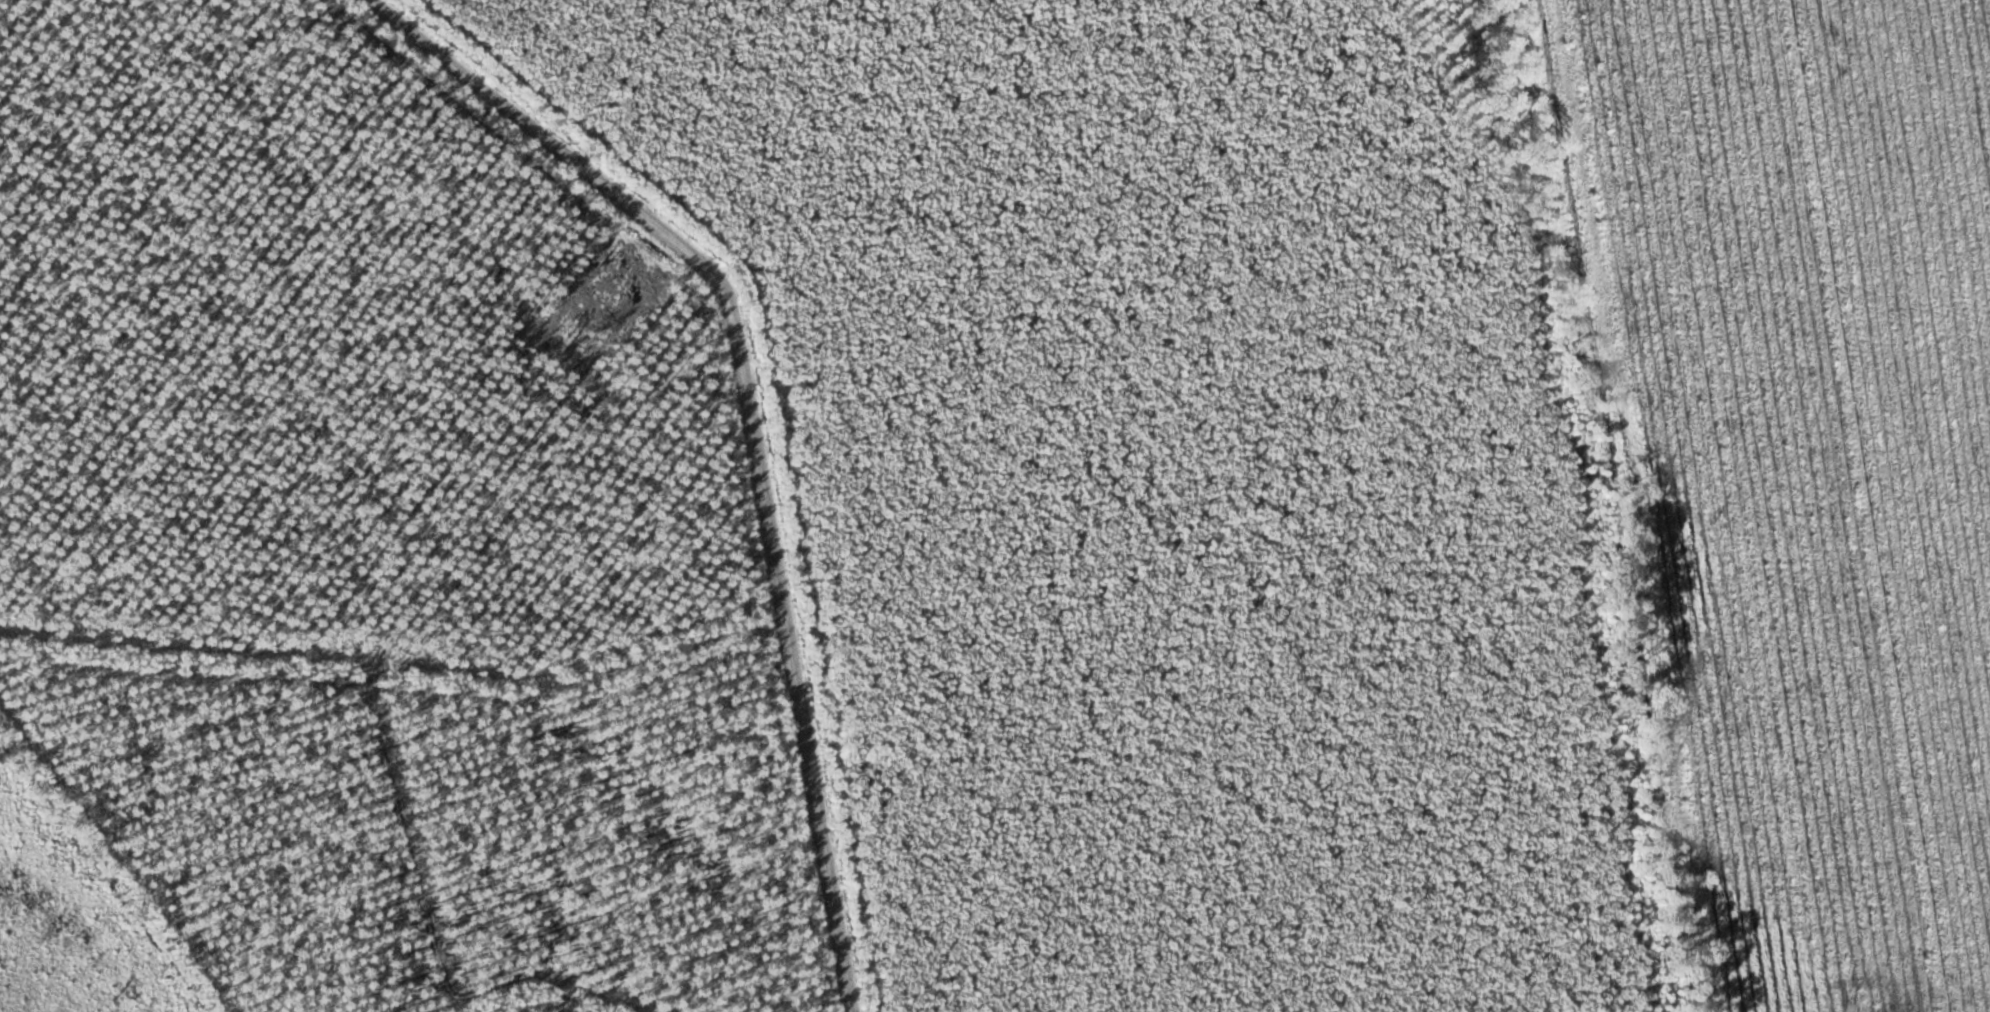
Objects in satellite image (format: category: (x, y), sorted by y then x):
road: (760, 420)

